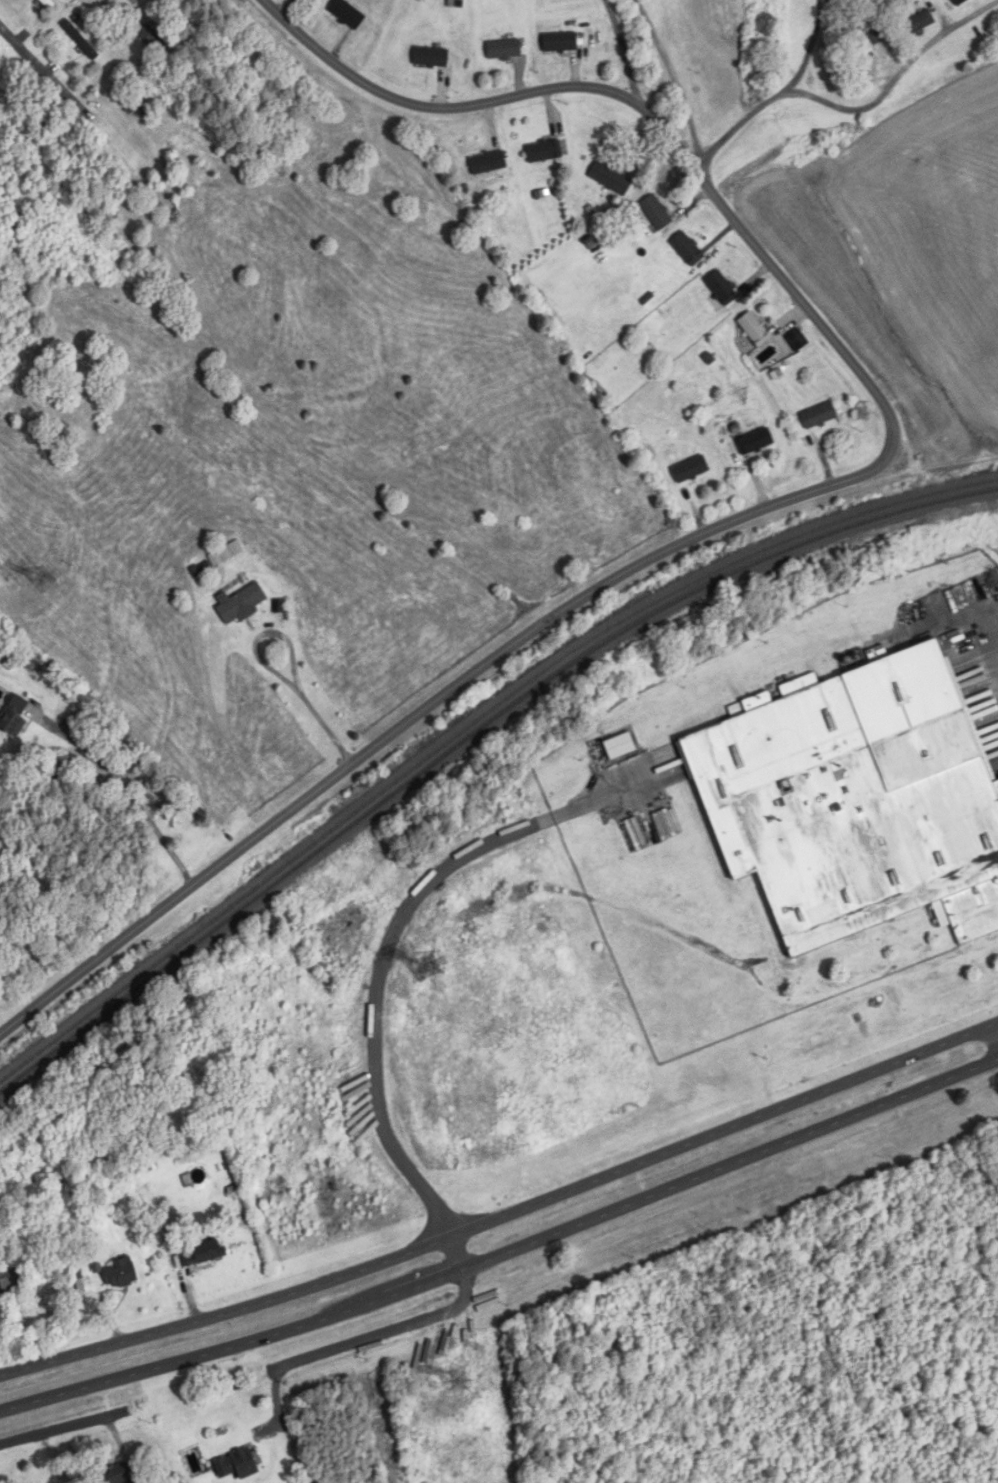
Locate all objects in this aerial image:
building: (960, 1)
building: (49, 3)
building: (348, 14)
building: (920, 22)
building: (151, 38)
building: (81, 40)
building: (561, 42)
road: (9, 45)
road: (811, 47)
building: (505, 49)
road: (625, 51)
building: (431, 57)
road: (676, 80)
road: (850, 106)
road: (645, 108)
building: (545, 151)
building: (488, 162)
building: (611, 179)
building: (657, 212)
building: (687, 247)
building: (722, 291)
building: (753, 326)
building: (820, 415)
road: (947, 438)
building: (756, 442)
building: (691, 469)
building: (226, 553)
power tower: (46, 581)
building: (242, 603)
road: (993, 620)
road: (276, 674)
road: (434, 706)
building: (14, 716)
railway: (470, 726)
railway: (473, 742)
building: (620, 746)
road: (133, 795)
building: (858, 800)
road: (390, 940)
power tower: (428, 968)
road: (997, 1032)
road: (504, 1218)
building: (203, 1253)
road: (505, 1254)
building: (121, 1274)
building: (12, 1277)
building: (85, 1285)
road: (355, 1347)
power tower: (459, 1380)
road: (63, 1430)
building: (238, 1464)
building: (116, 1475)

